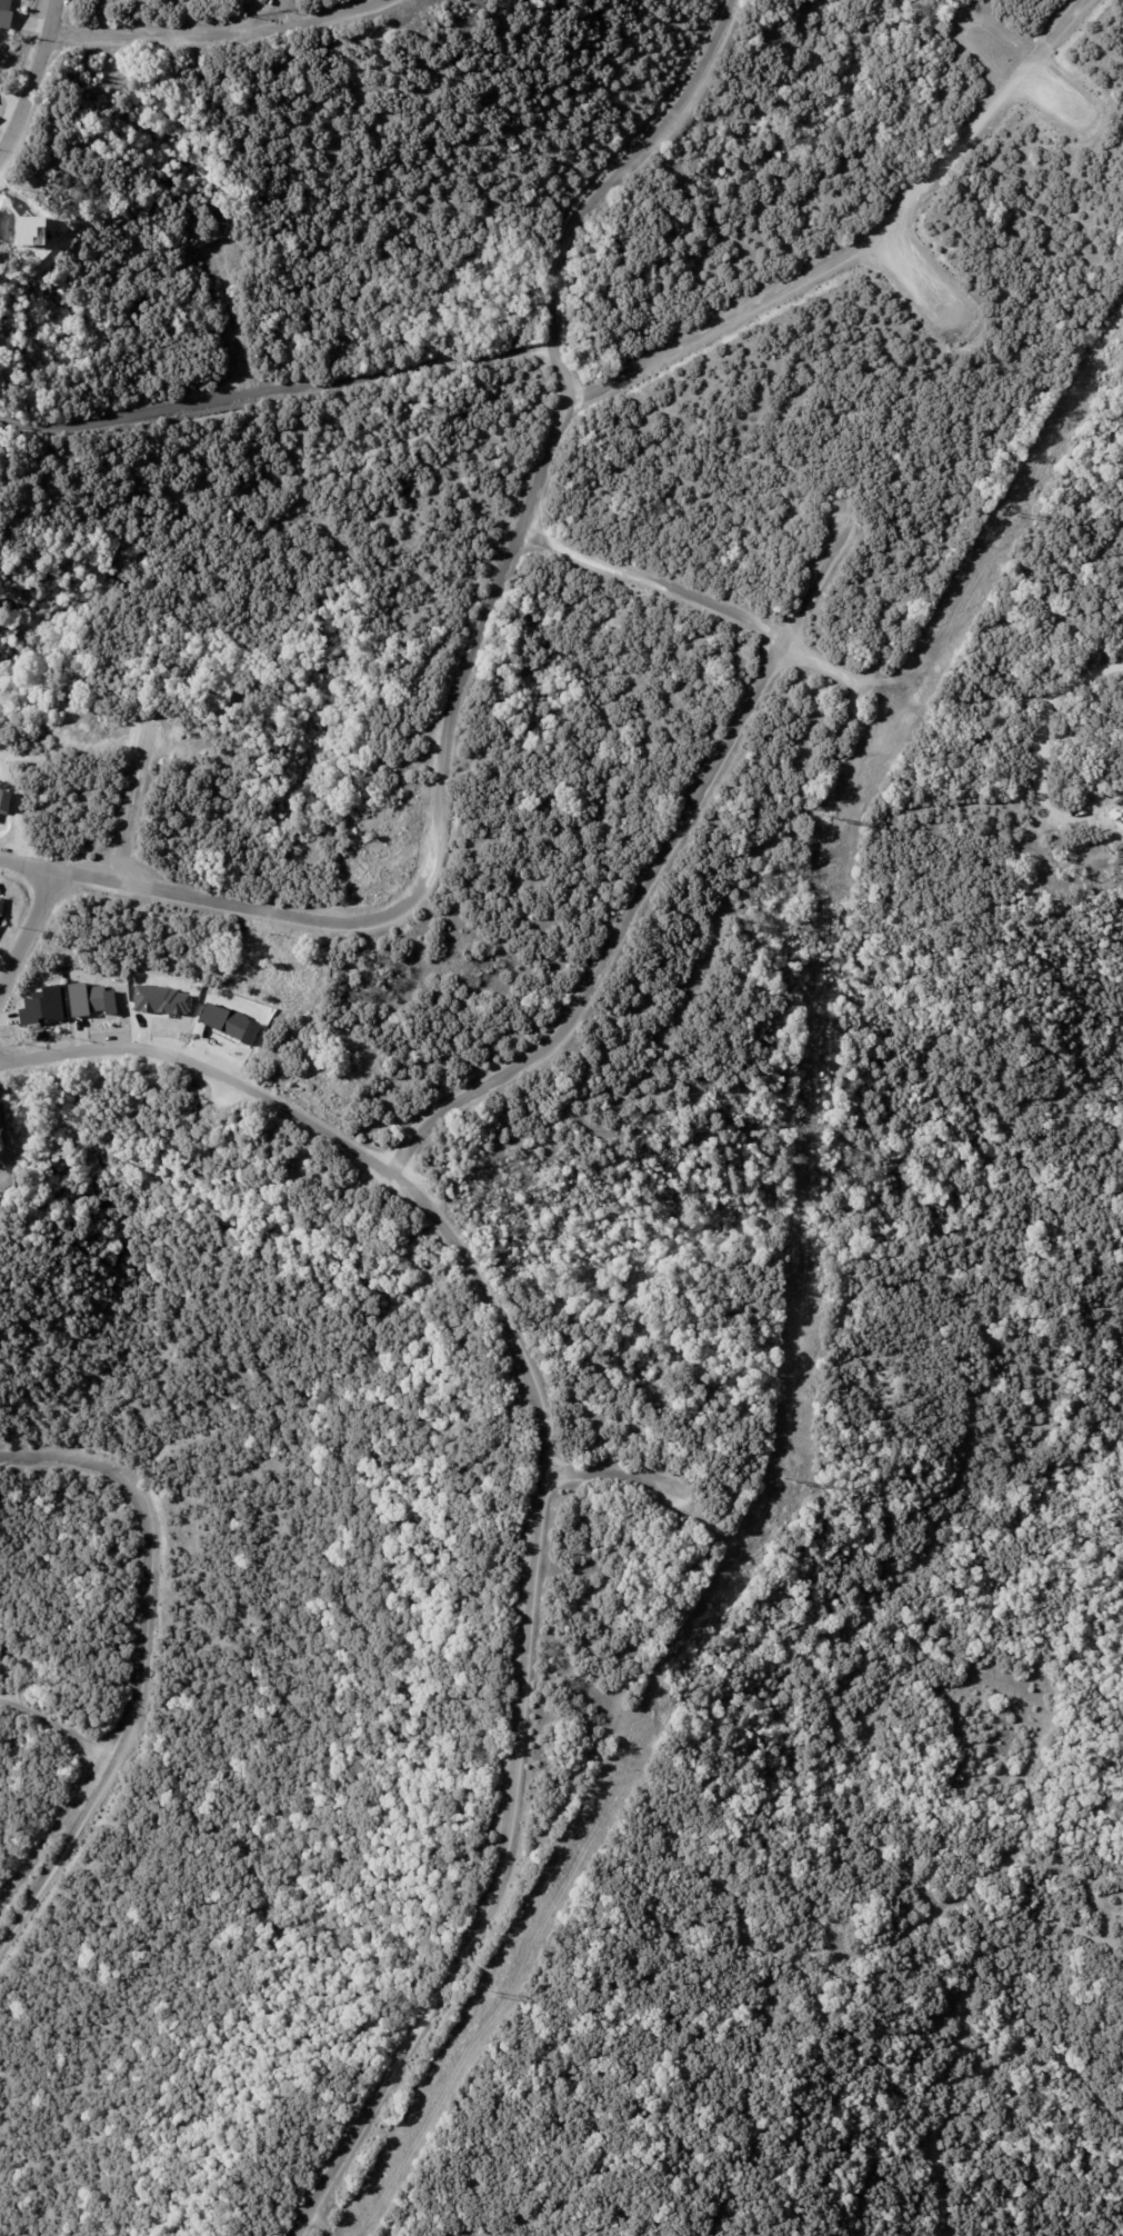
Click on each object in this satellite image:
building: (259, 1)
building: (269, 2)
building: (2, 11)
road: (222, 32)
road: (1023, 69)
road: (33, 79)
road: (623, 168)
building: (11, 214)
road: (940, 268)
road: (233, 327)
road: (561, 372)
road: (275, 390)
power tower: (1012, 511)
road: (517, 535)
road: (685, 593)
road: (1084, 679)
road: (1042, 793)
road: (130, 809)
power tower: (833, 817)
road: (648, 860)
building: (2, 904)
road: (27, 931)
building: (88, 999)
building: (163, 999)
building: (40, 1005)
building: (229, 1021)
road: (4, 1140)
road: (609, 1474)
power tower: (794, 1480)
road: (541, 1498)
road: (150, 1554)
road: (56, 1726)
road: (52, 1827)
road: (59, 1855)
power tower: (490, 1993)

